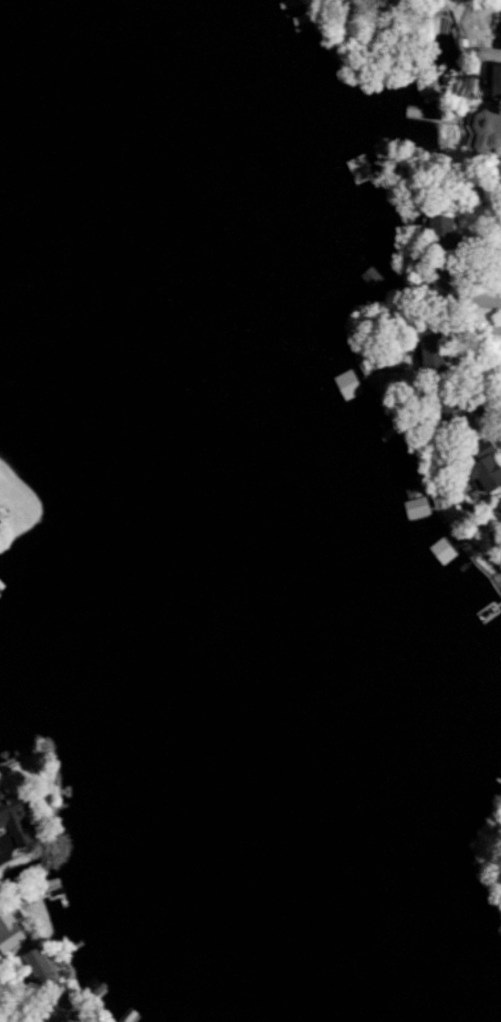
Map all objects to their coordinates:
building: (498, 30)
building: (491, 80)
building: (482, 129)
building: (431, 227)
building: (476, 466)
building: (415, 507)
building: (498, 507)
building: (19, 817)
road: (4, 845)
building: (12, 930)
building: (47, 967)

